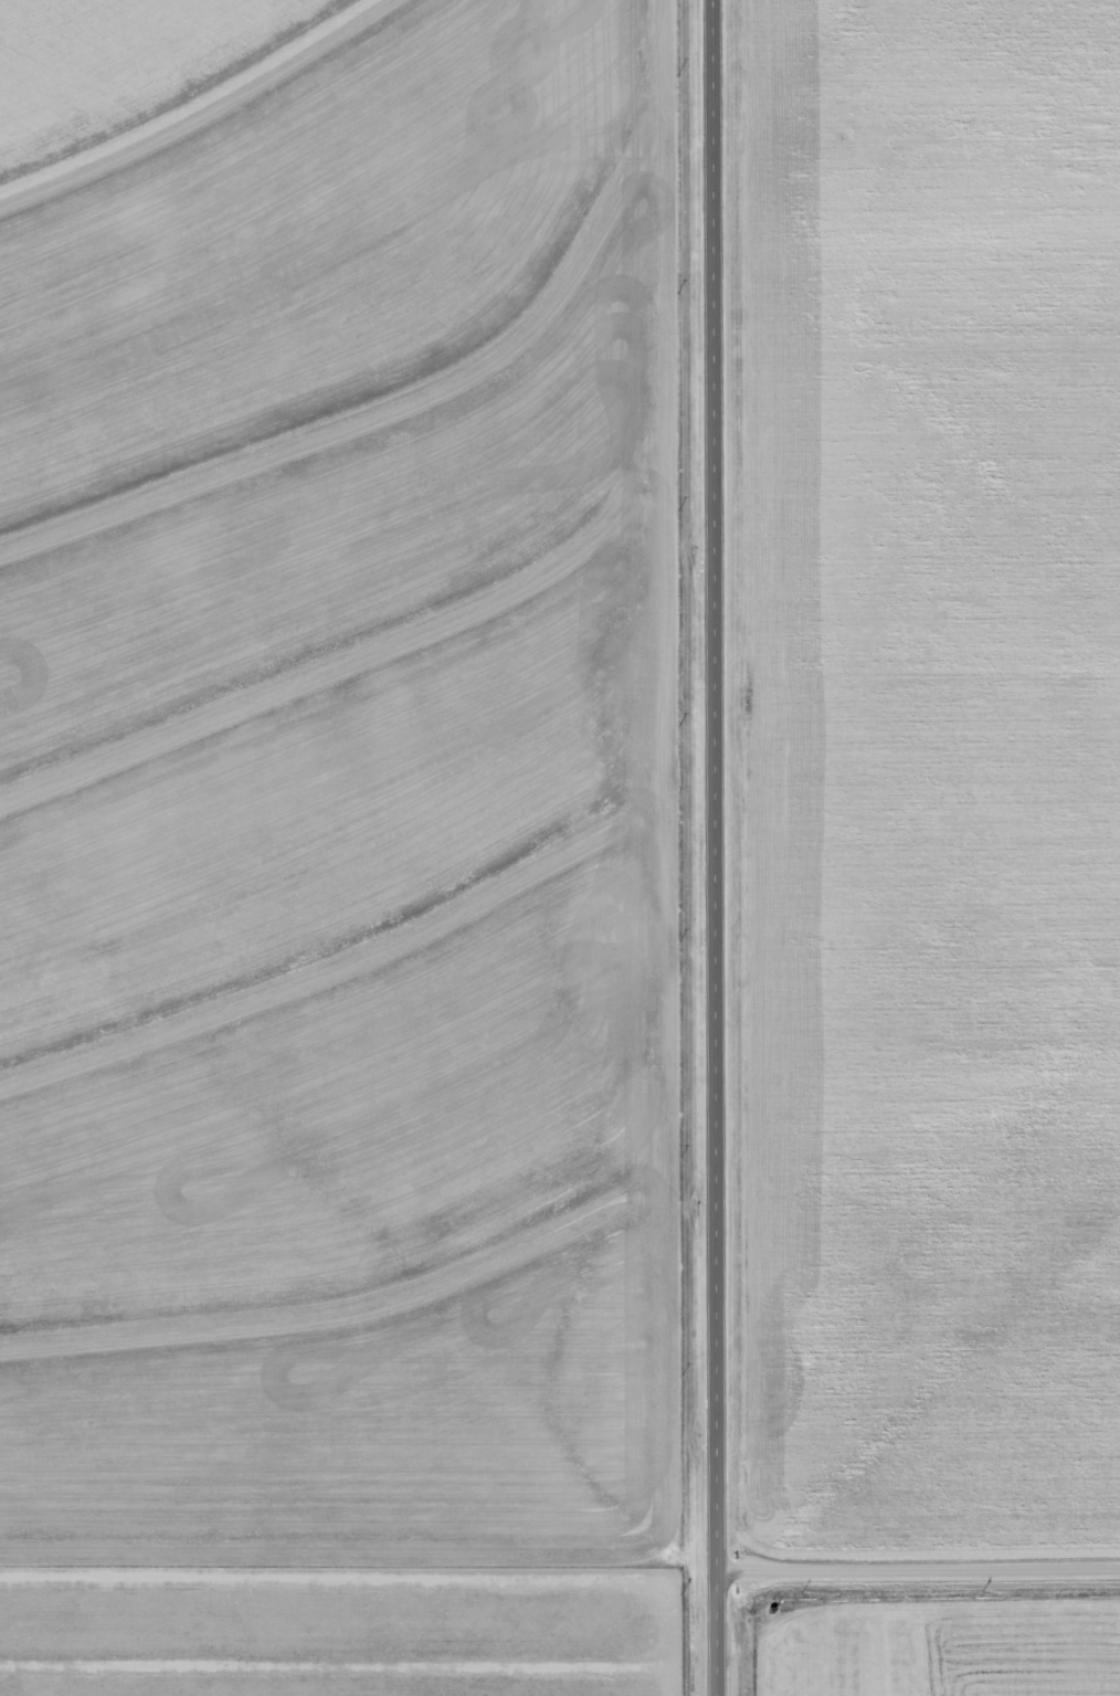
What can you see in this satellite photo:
road: (714, 847)
road: (918, 1582)

